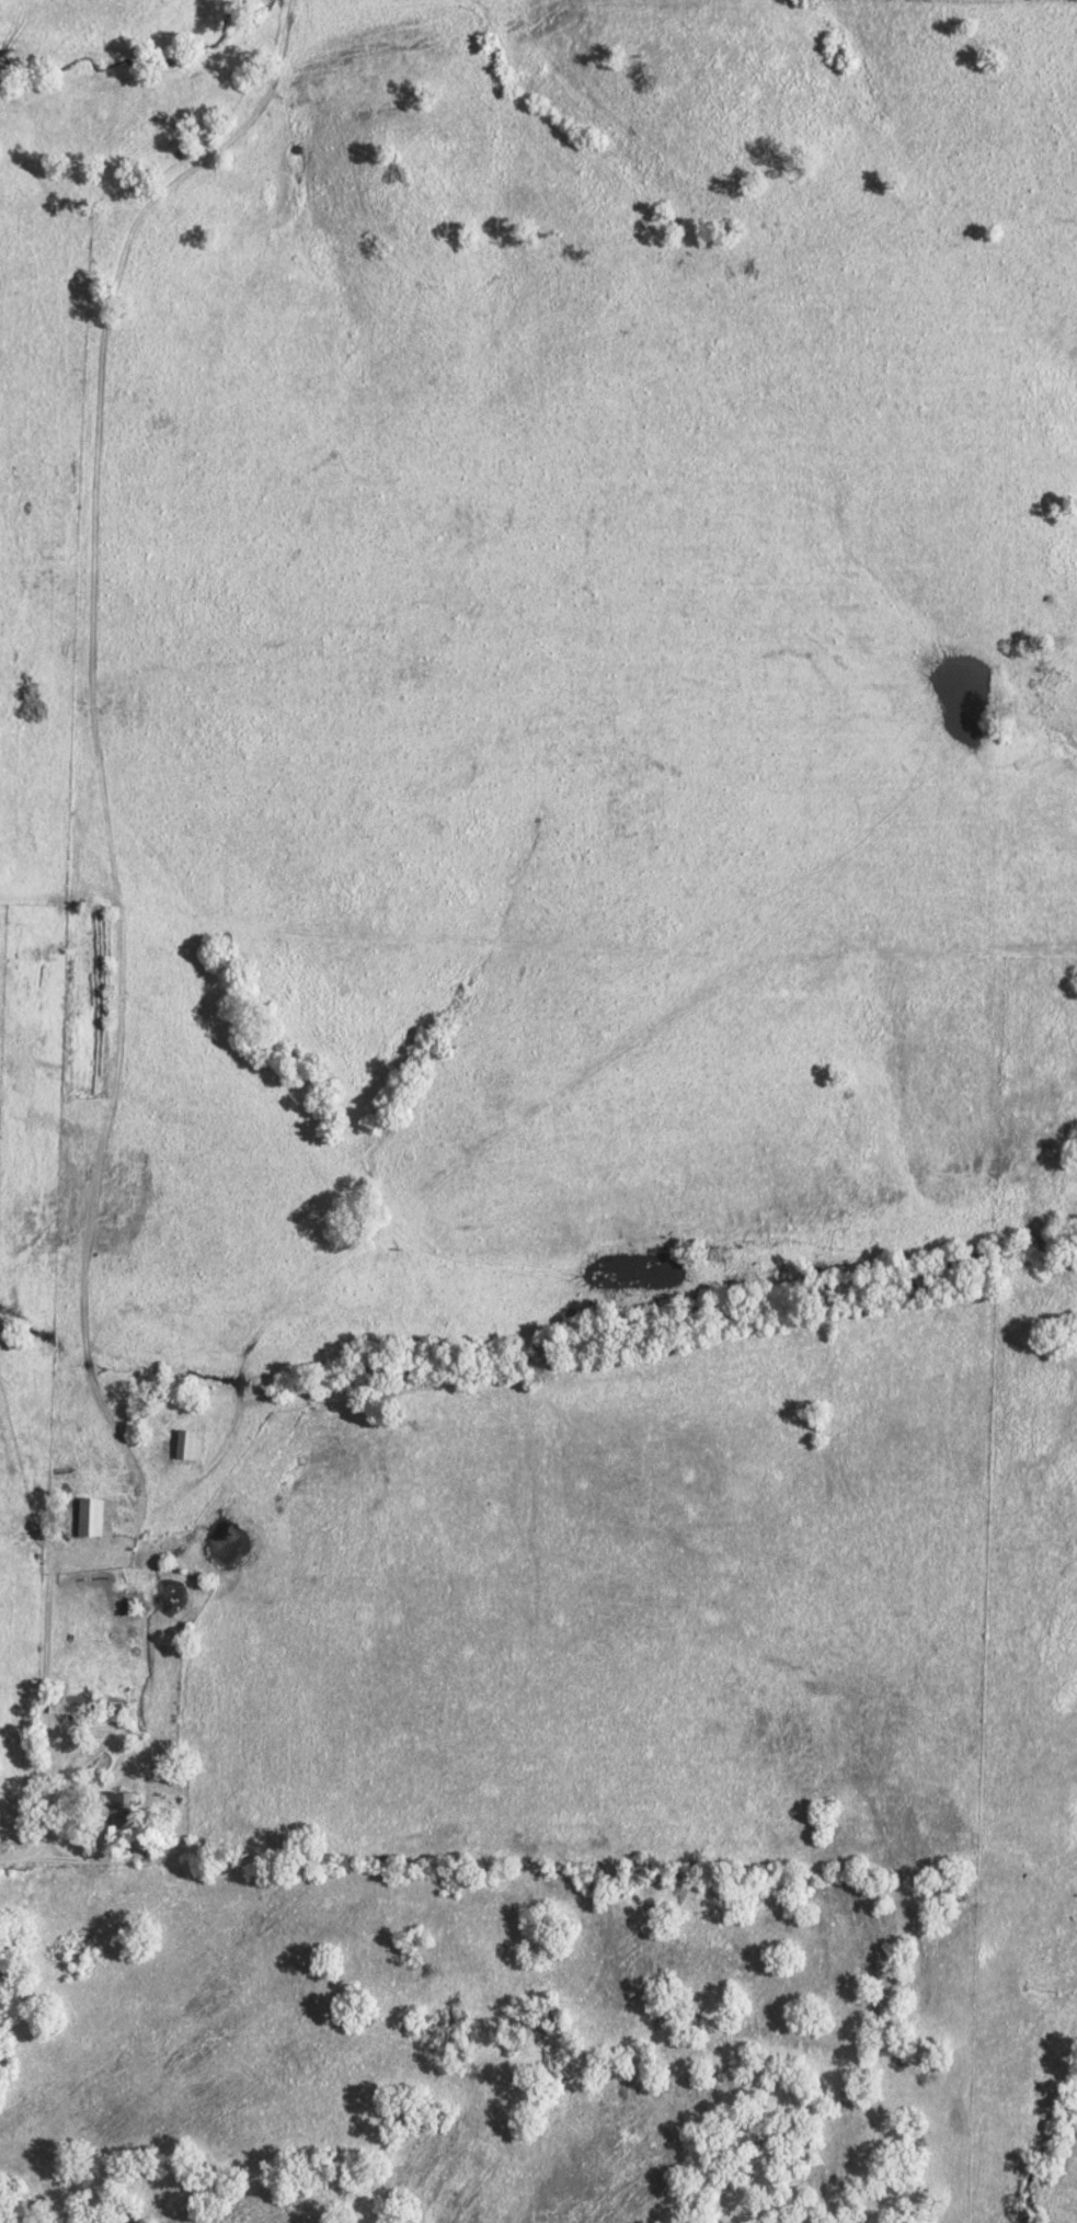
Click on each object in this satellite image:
road: (115, 951)
road: (530, 1108)
building: (186, 1448)
building: (92, 1520)
road: (149, 1787)
building: (118, 1809)

